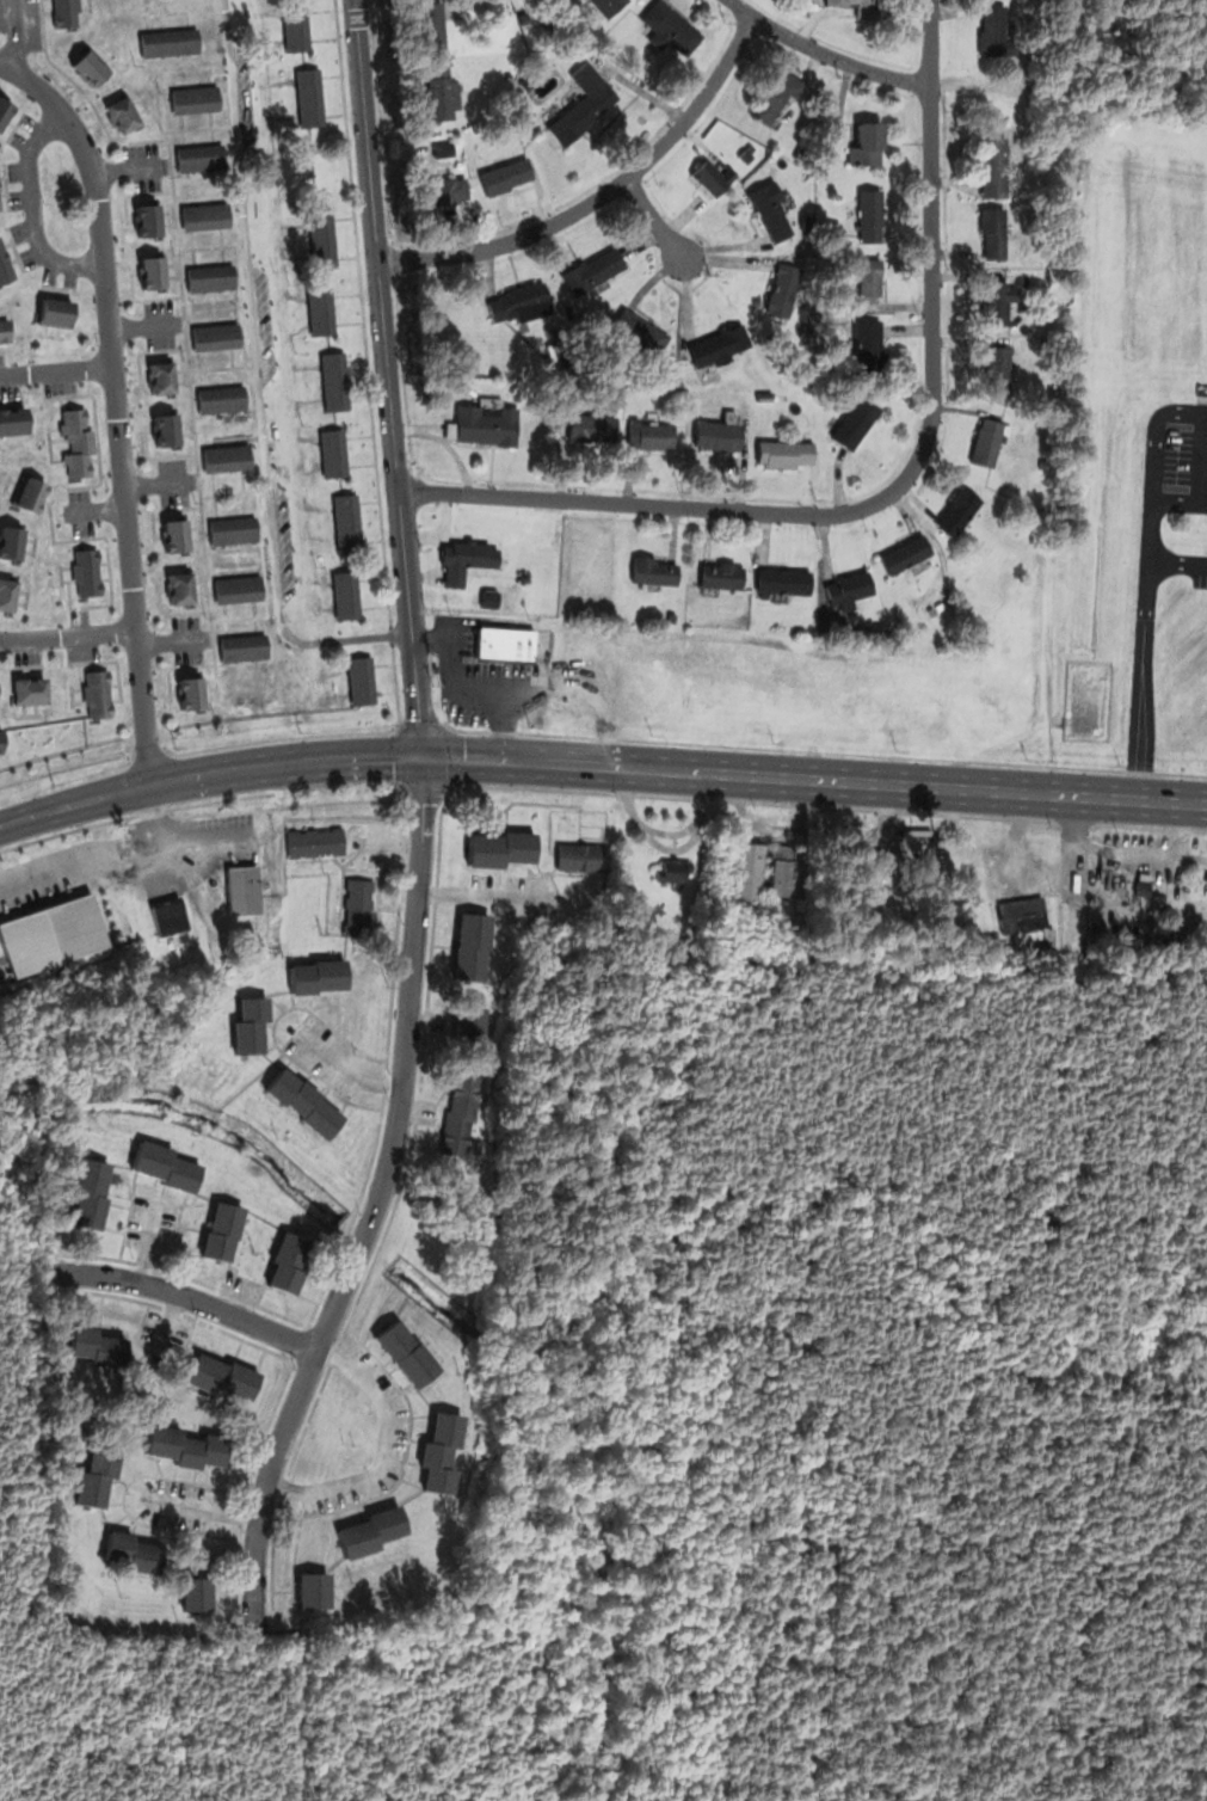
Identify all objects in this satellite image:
building: (608, 6)
building: (861, 7)
building: (64, 13)
building: (295, 25)
building: (430, 26)
building: (670, 30)
building: (997, 30)
road: (18, 37)
building: (168, 41)
road: (825, 54)
building: (443, 92)
building: (776, 96)
building: (310, 98)
building: (196, 99)
building: (583, 103)
building: (5, 110)
building: (125, 113)
building: (869, 141)
building: (443, 150)
building: (749, 152)
building: (201, 158)
building: (993, 167)
building: (308, 170)
building: (506, 176)
building: (716, 177)
building: (442, 191)
road: (603, 196)
road: (33, 208)
building: (772, 210)
building: (207, 216)
building: (872, 216)
road: (655, 217)
building: (148, 220)
building: (831, 227)
building: (992, 233)
building: (322, 239)
building: (5, 266)
building: (593, 270)
building: (154, 273)
building: (213, 277)
building: (870, 279)
building: (783, 293)
building: (994, 302)
building: (519, 303)
building: (321, 311)
building: (56, 313)
building: (6, 328)
building: (550, 330)
building: (641, 332)
building: (216, 338)
building: (718, 344)
building: (872, 346)
building: (559, 351)
road: (56, 370)
building: (998, 370)
road: (388, 377)
building: (162, 379)
building: (333, 380)
road: (259, 381)
building: (222, 399)
road: (116, 402)
road: (1205, 410)
building: (13, 420)
building: (487, 422)
building: (856, 422)
building: (592, 426)
building: (167, 430)
building: (720, 431)
building: (651, 435)
building: (76, 441)
building: (987, 442)
building: (788, 451)
building: (334, 453)
building: (226, 457)
road: (893, 488)
building: (30, 494)
road: (1202, 506)
building: (960, 512)
road: (1150, 514)
building: (347, 523)
building: (234, 531)
building: (178, 536)
building: (12, 540)
building: (905, 555)
building: (464, 560)
road: (1177, 560)
building: (86, 571)
building: (654, 571)
building: (723, 573)
building: (525, 577)
building: (782, 580)
building: (851, 586)
building: (181, 588)
building: (239, 589)
building: (10, 592)
building: (346, 596)
building: (488, 597)
building: (671, 615)
road: (68, 638)
building: (506, 644)
building: (242, 647)
building: (362, 680)
road: (479, 680)
building: (31, 690)
building: (97, 693)
building: (469, 693)
traffic signals: (426, 755)
road: (210, 770)
road: (815, 777)
building: (315, 840)
building: (501, 848)
building: (572, 855)
building: (675, 869)
building: (749, 869)
building: (782, 872)
building: (876, 883)
building: (1141, 885)
building: (242, 887)
road: (480, 895)
building: (359, 906)
building: (755, 914)
building: (1027, 920)
building: (173, 921)
building: (474, 947)
building: (319, 978)
building: (470, 1020)
building: (252, 1025)
road: (344, 1069)
building: (307, 1104)
building: (462, 1113)
building: (167, 1168)
building: (91, 1194)
road: (376, 1197)
building: (224, 1229)
road: (154, 1247)
building: (289, 1264)
road: (189, 1297)
building: (100, 1346)
building: (407, 1352)
building: (224, 1377)
building: (186, 1445)
road: (383, 1450)
building: (443, 1451)
building: (100, 1473)
road: (209, 1508)
building: (371, 1531)
building: (136, 1554)
building: (314, 1591)
building: (199, 1594)

